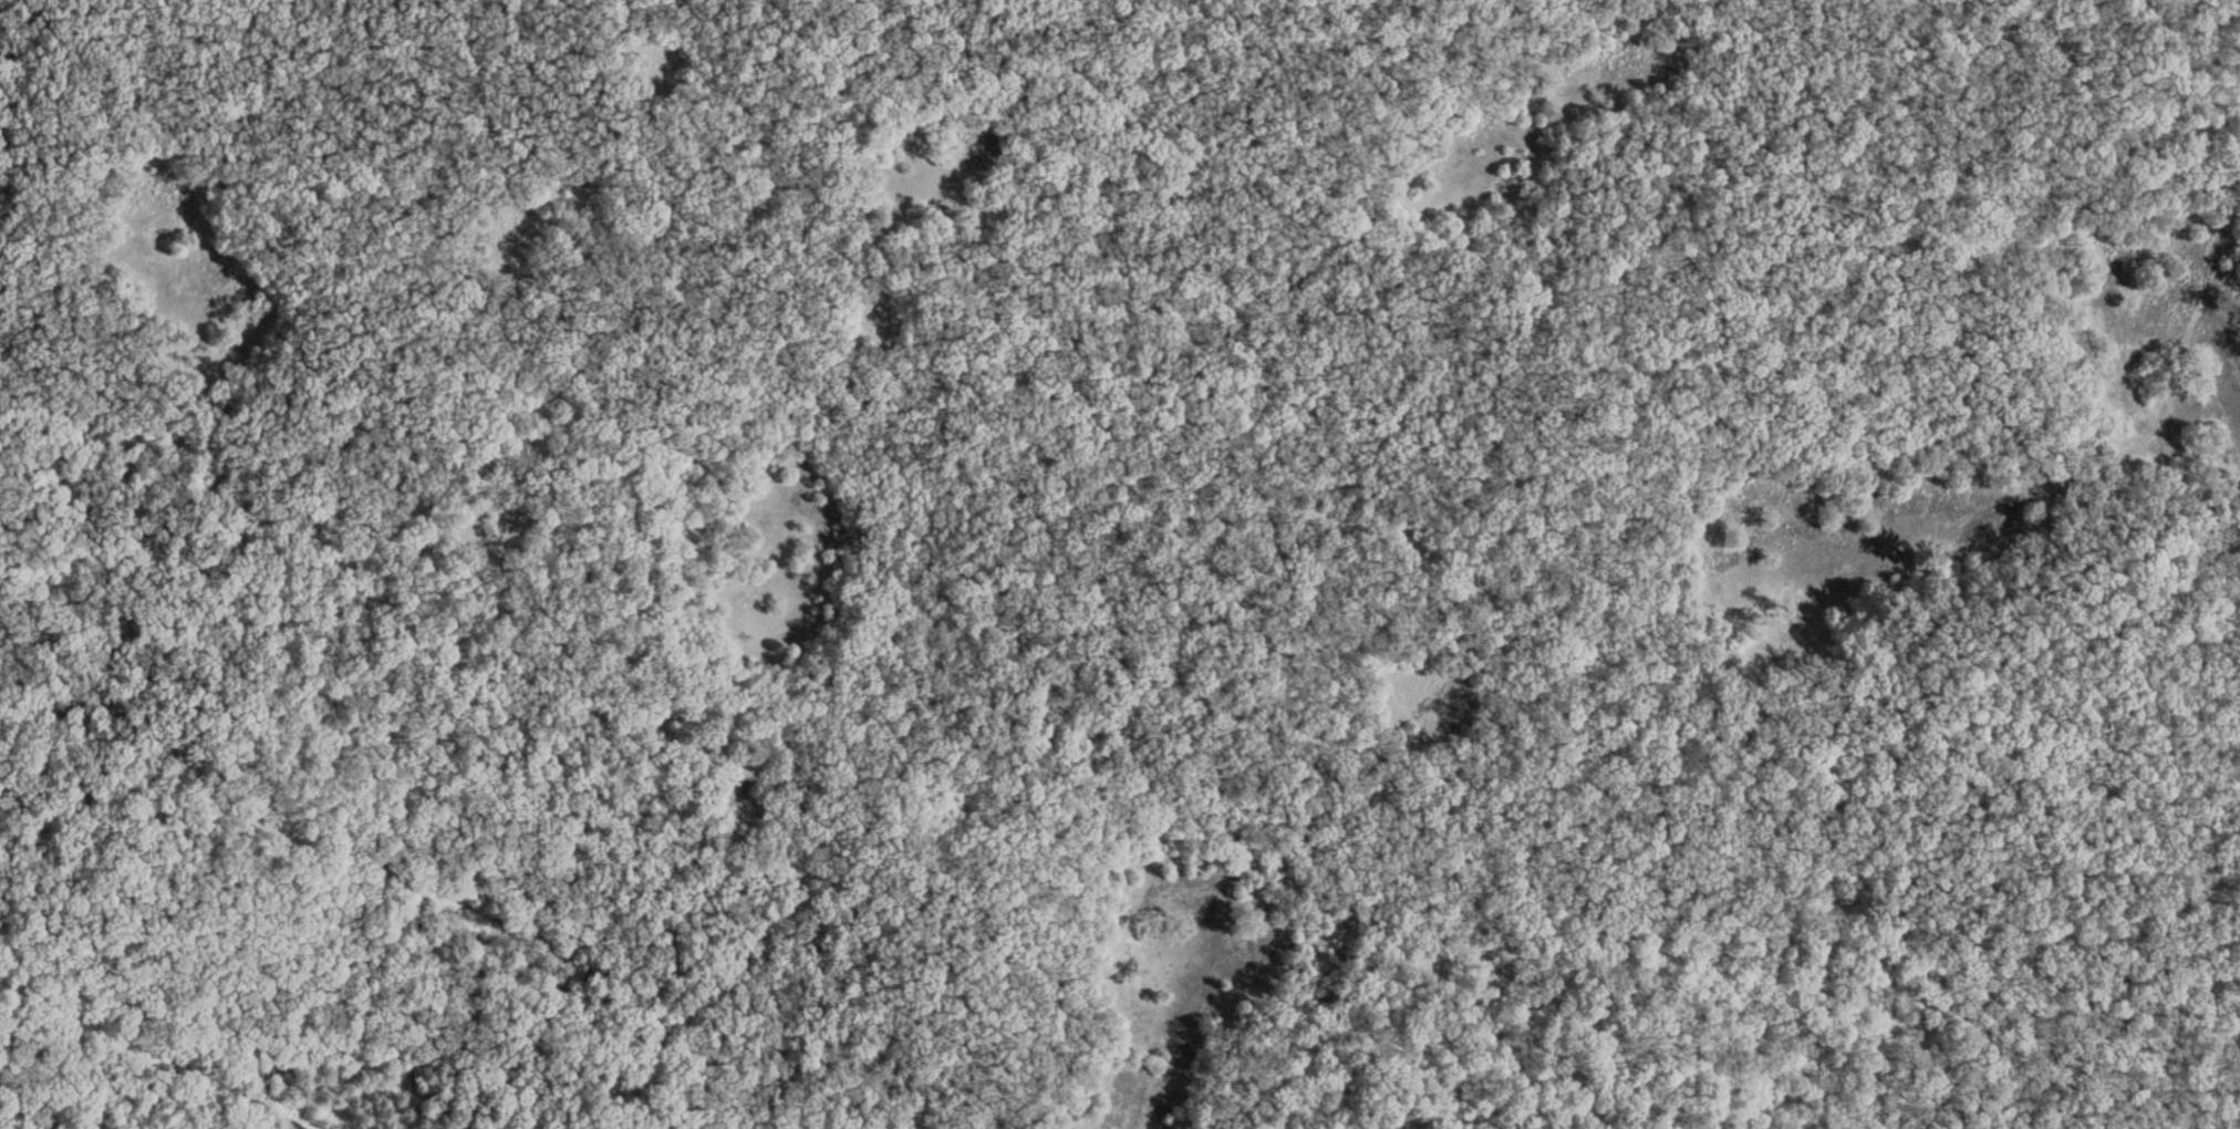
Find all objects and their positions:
building: (2046, 476)

